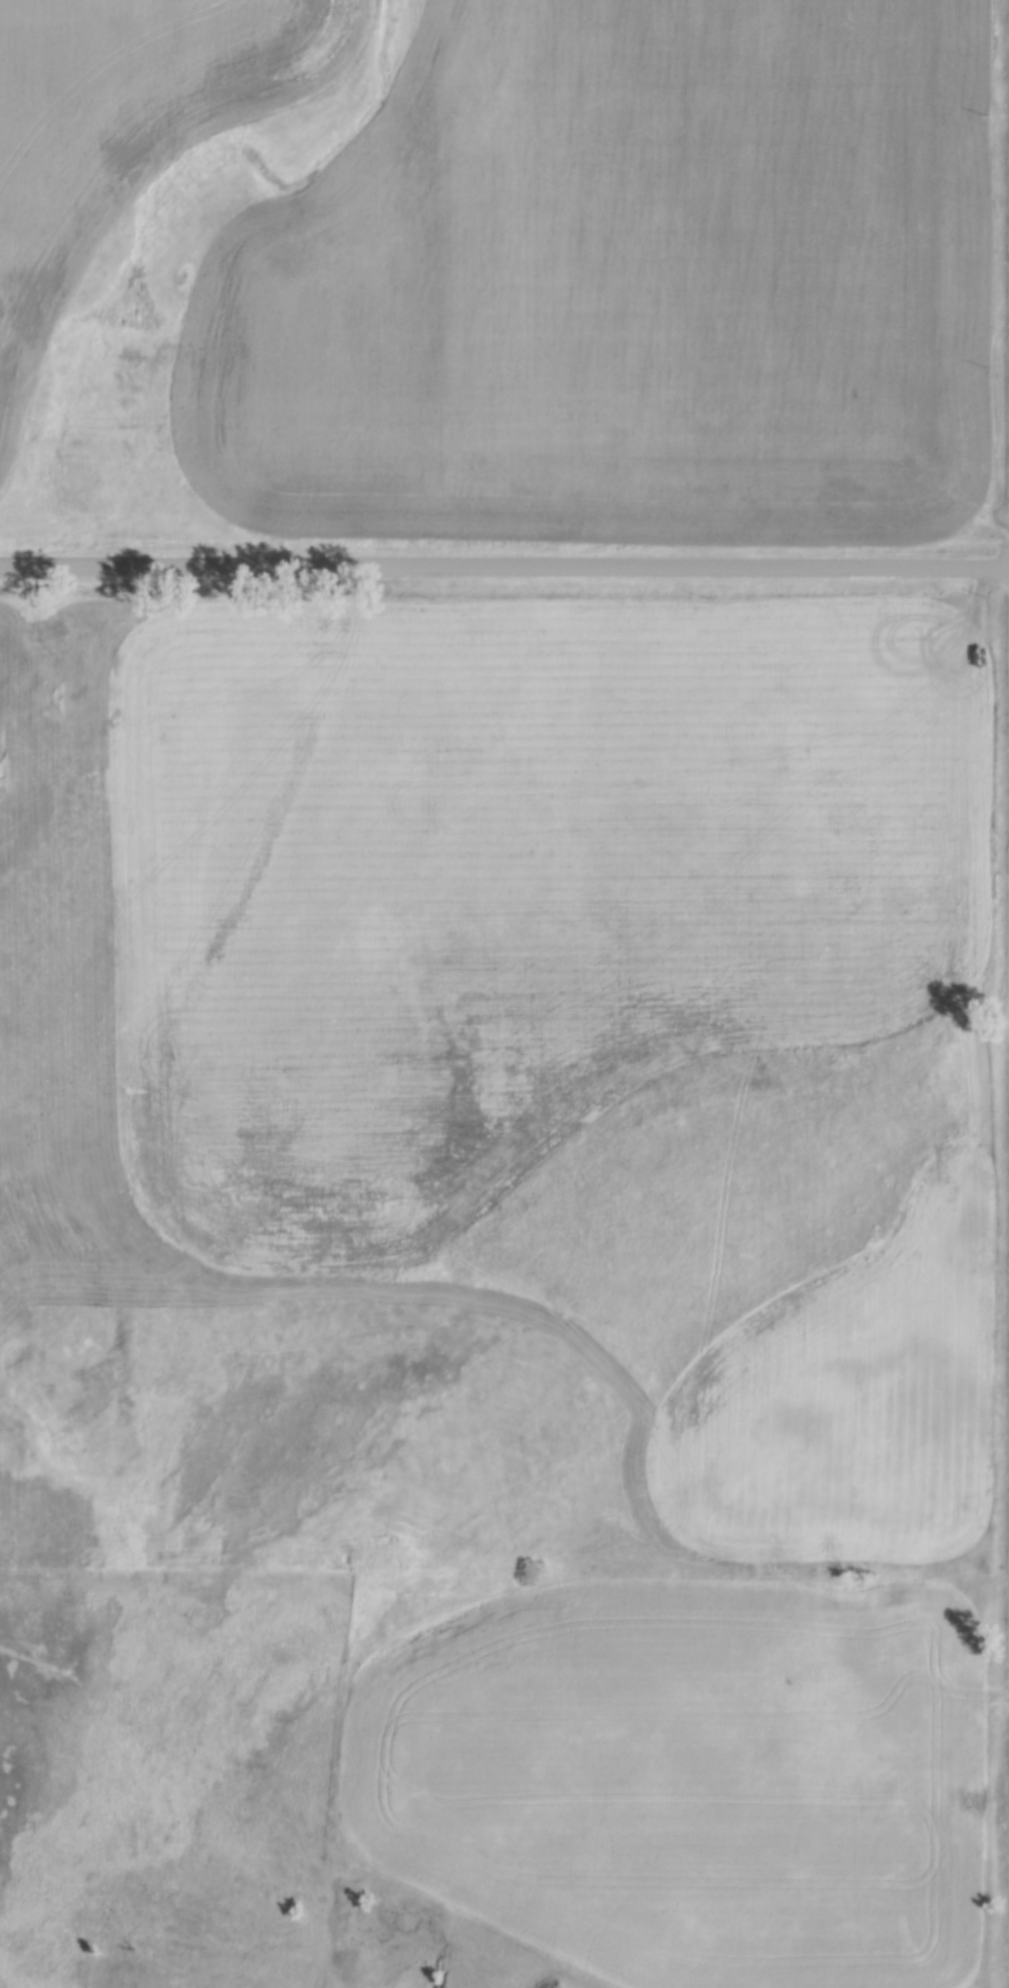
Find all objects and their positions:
road: (504, 566)

